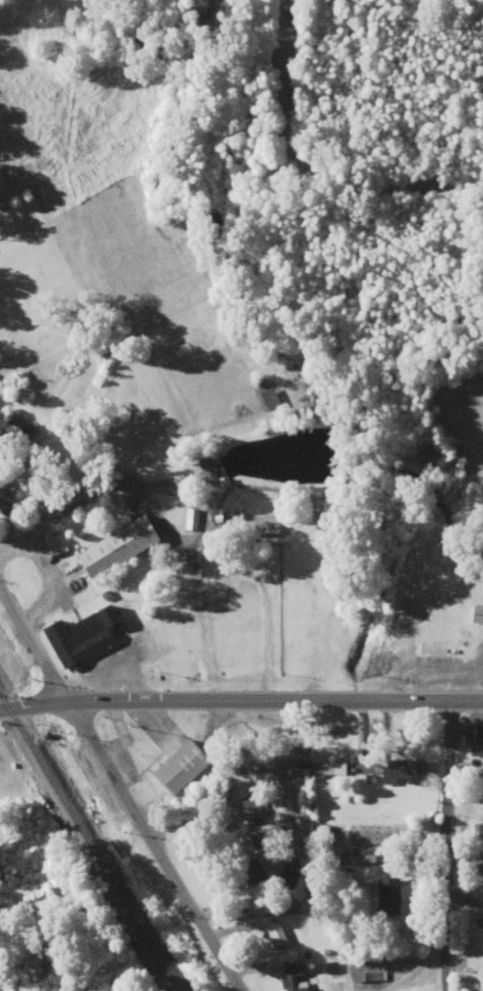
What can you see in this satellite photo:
road: (304, 174)
building: (272, 399)
building: (211, 471)
building: (9, 500)
road: (112, 502)
building: (193, 518)
building: (124, 547)
building: (478, 615)
road: (352, 631)
building: (87, 635)
road: (34, 641)
building: (441, 650)
road: (241, 696)
building: (477, 746)
building: (141, 753)
road: (171, 757)
building: (331, 768)
road: (425, 790)
building: (477, 825)
railway: (88, 840)
road: (154, 844)
building: (356, 859)
building: (251, 873)
road: (454, 885)
building: (390, 896)
road: (24, 919)
building: (276, 935)
building: (43, 957)
building: (296, 978)

